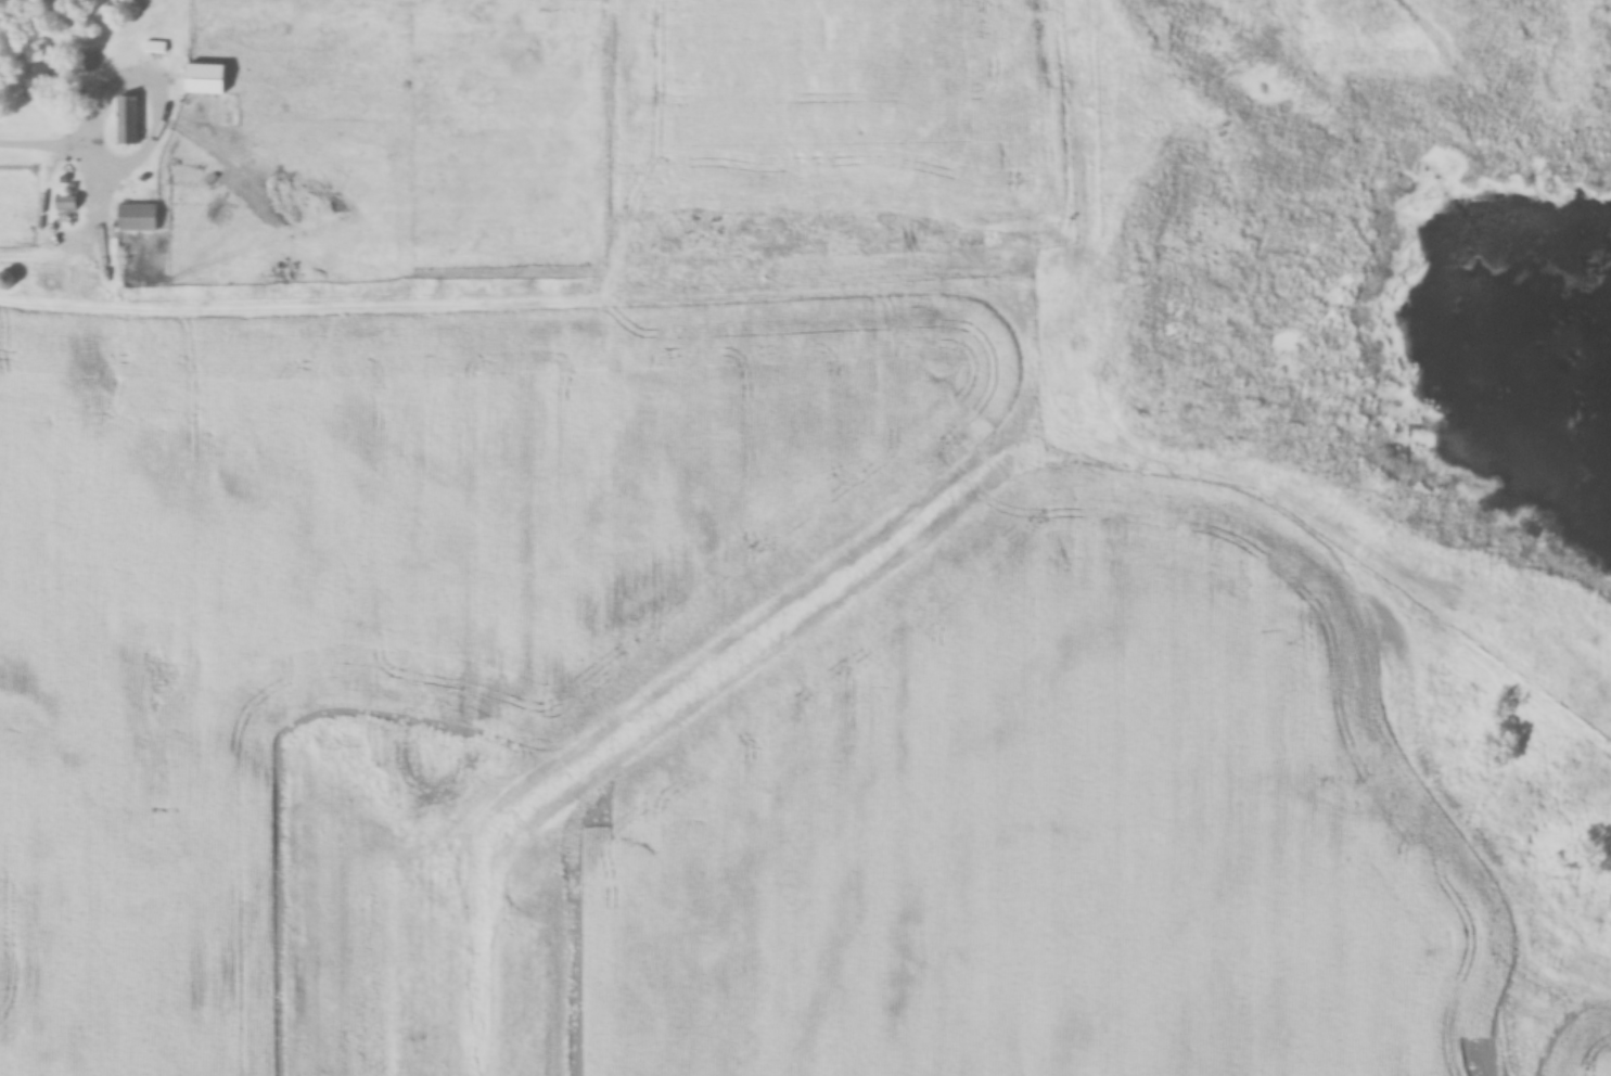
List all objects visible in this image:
building: (86, 61)
building: (39, 79)
building: (207, 80)
building: (129, 117)
road: (43, 141)
building: (67, 202)
building: (138, 216)
building: (7, 279)

